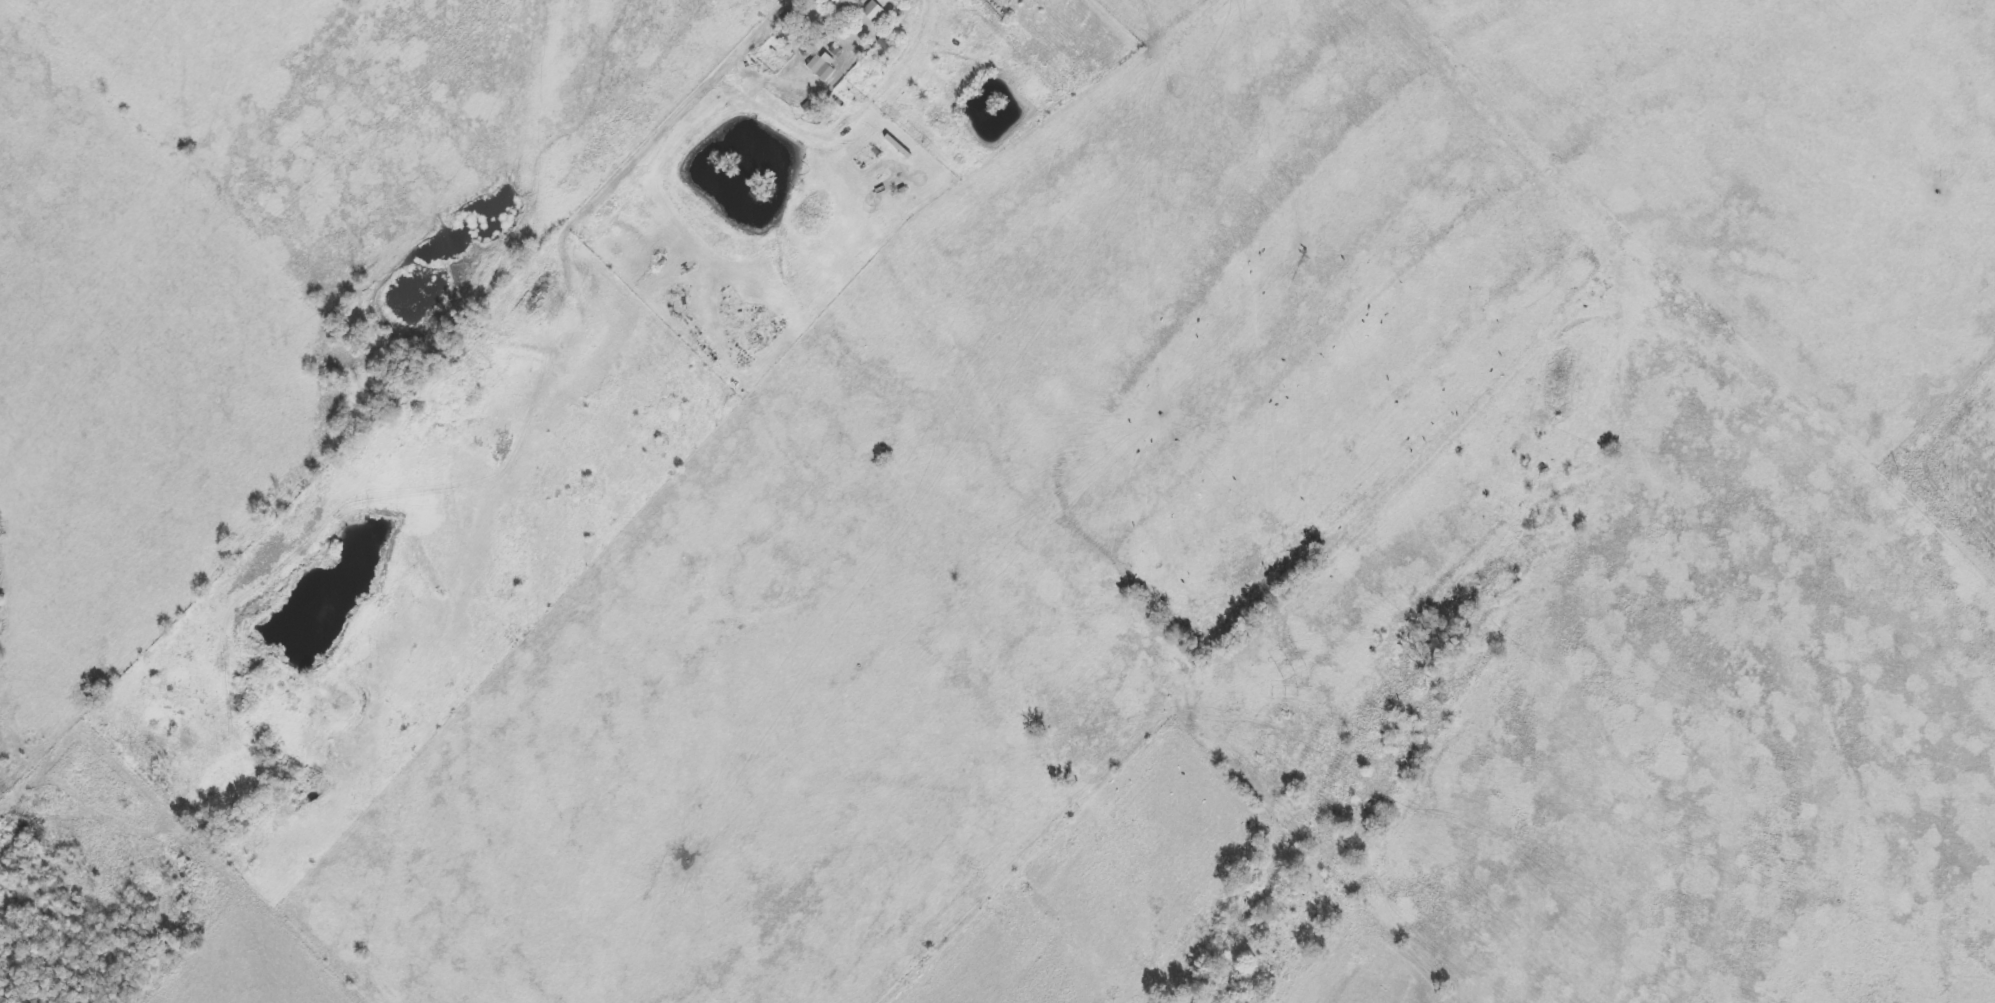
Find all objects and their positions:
building: (832, 5)
building: (815, 63)

